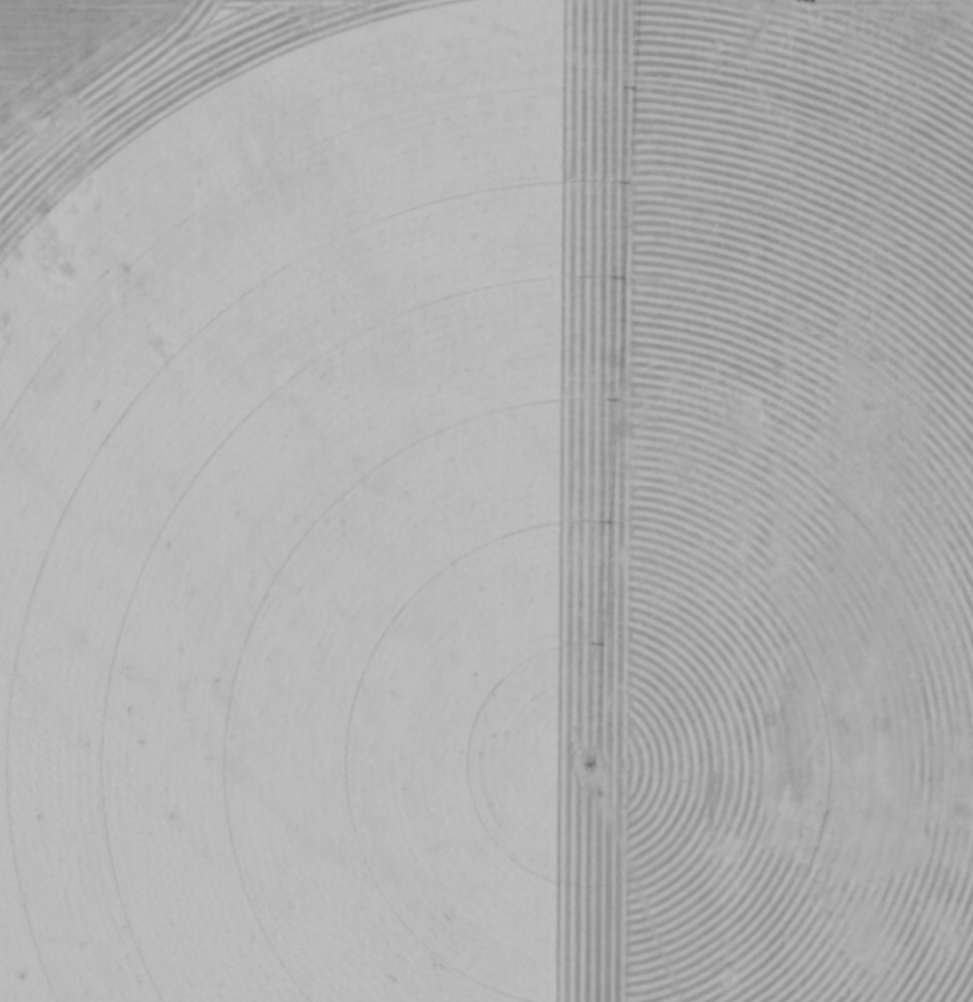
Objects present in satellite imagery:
crop: (490, 505)

